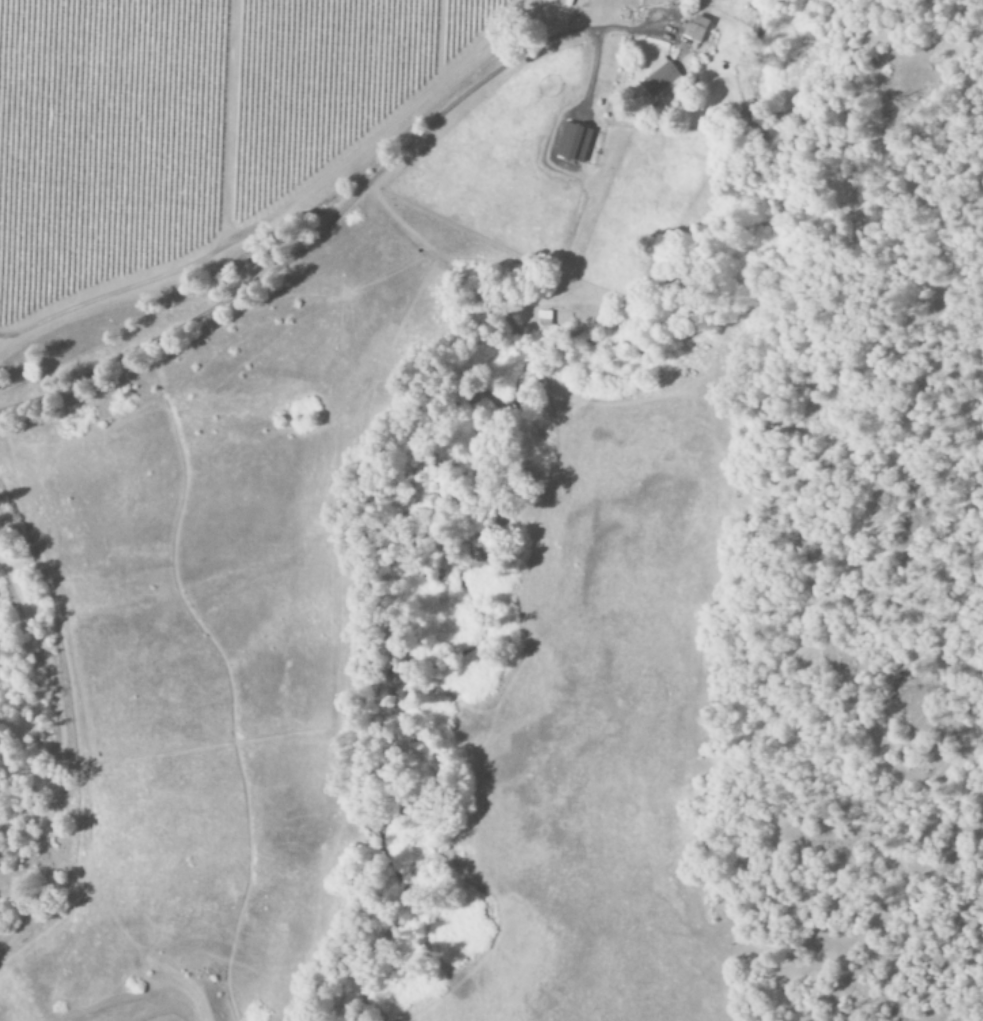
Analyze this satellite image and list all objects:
building: (696, 29)
building: (660, 78)
building: (572, 144)
road: (316, 214)
building: (544, 319)

